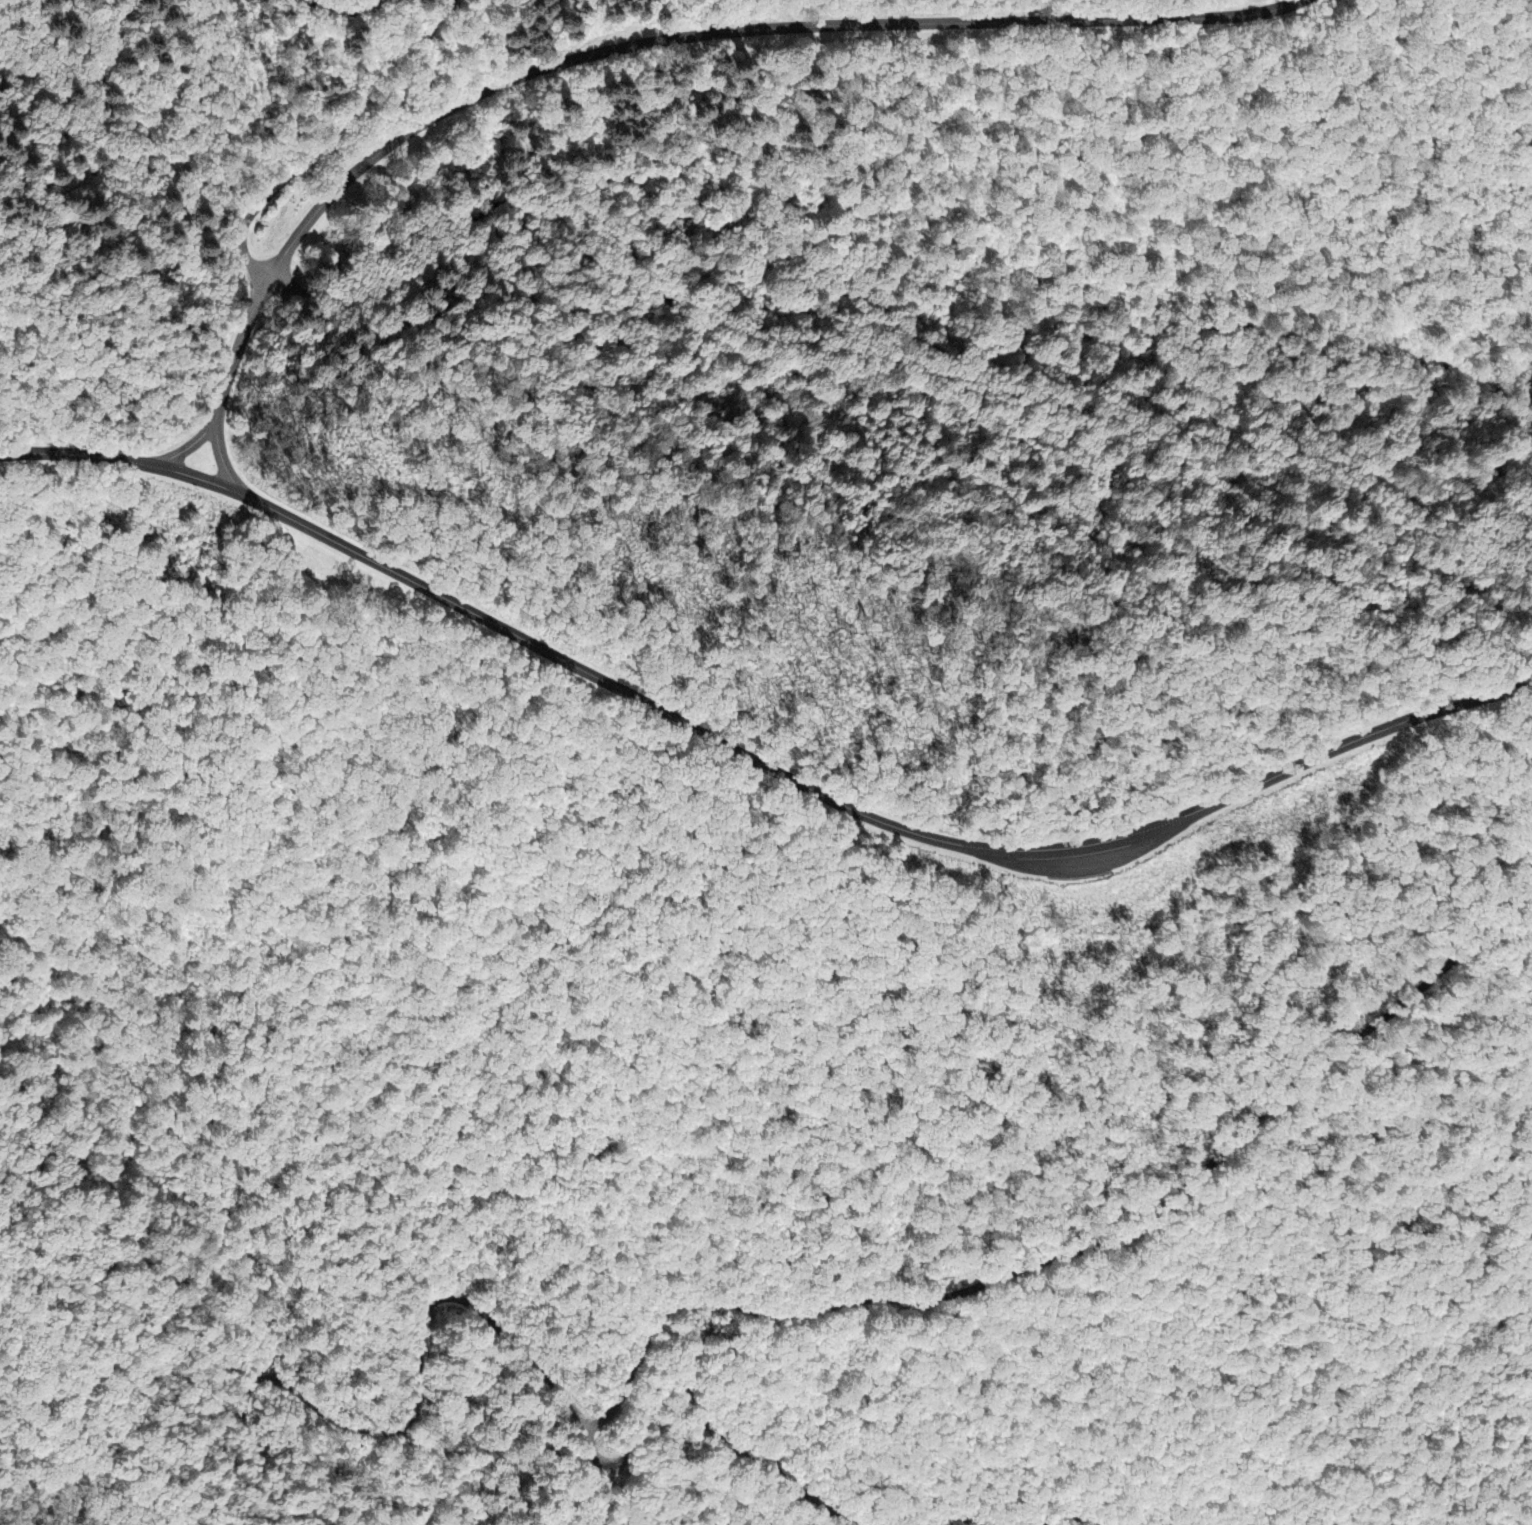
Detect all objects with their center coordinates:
road: (342, 11)
road: (748, 30)
road: (330, 136)
road: (242, 344)
road: (878, 362)
road: (190, 446)
road: (224, 457)
road: (755, 757)
parking lot: (1084, 858)
road: (1075, 865)
road: (1078, 1250)
road: (701, 1408)
road: (413, 1418)
road: (1069, 1516)
road: (958, 1519)

